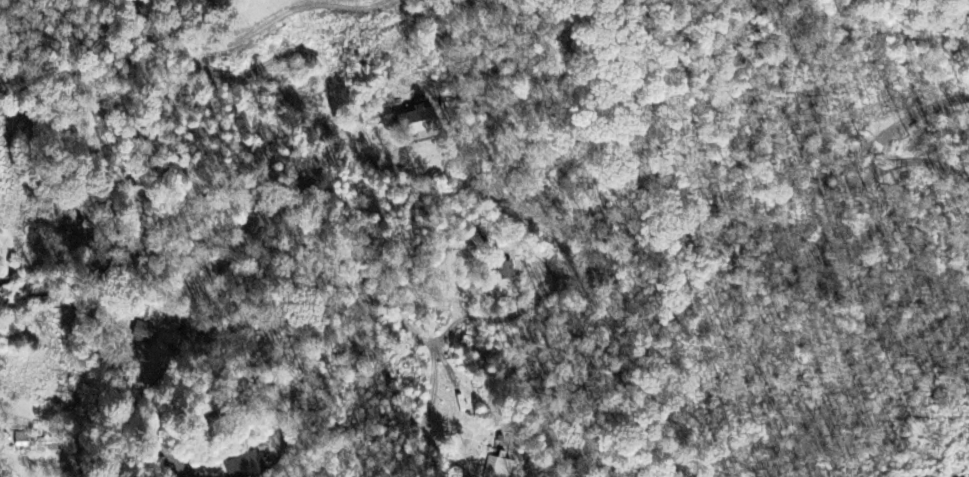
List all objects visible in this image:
building: (421, 123)
road: (155, 266)
building: (38, 443)
building: (248, 464)

